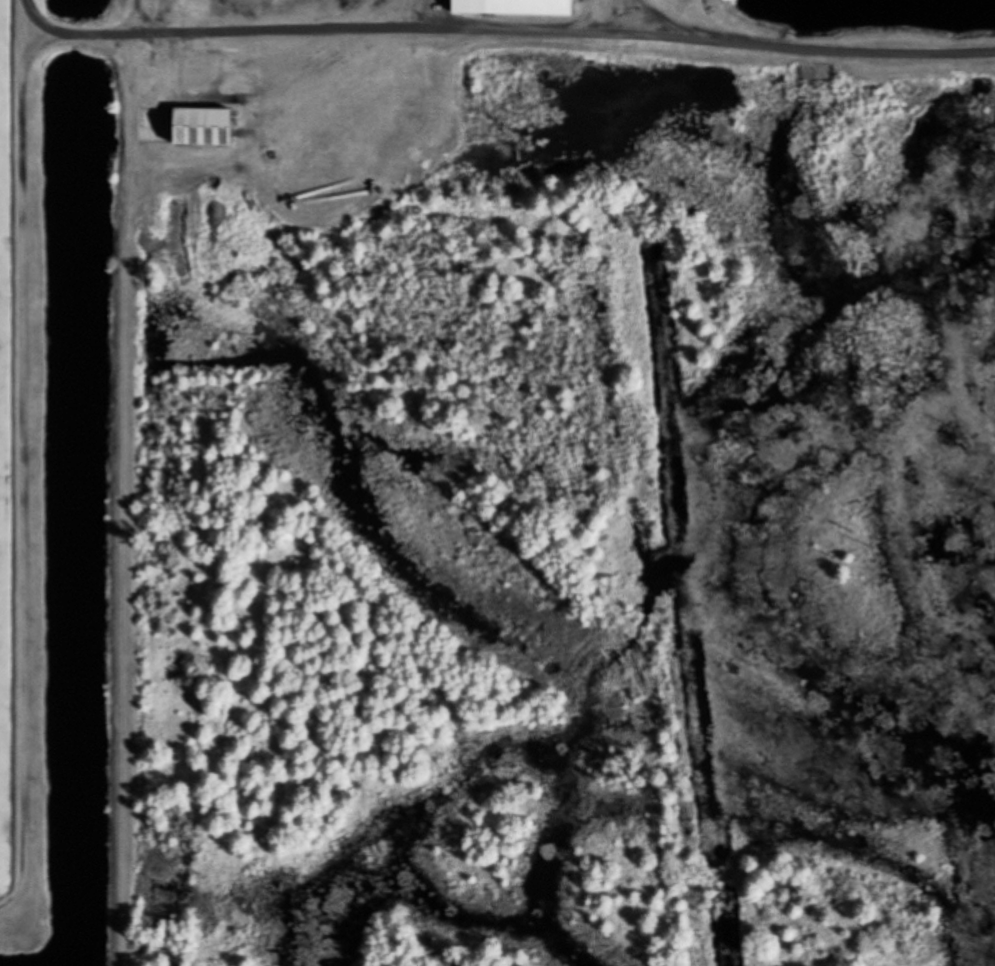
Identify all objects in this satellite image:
building: (515, 6)
road: (497, 103)
building: (204, 126)
crop: (20, 485)

